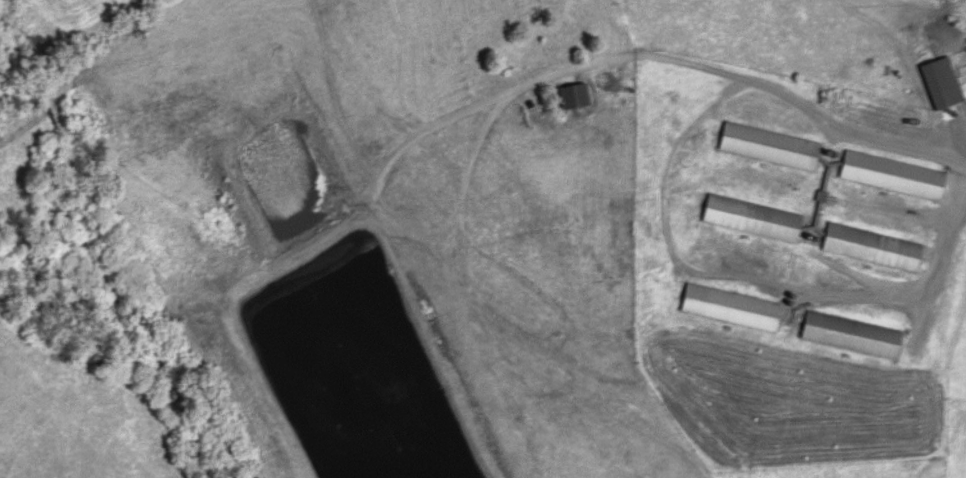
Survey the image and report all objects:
building: (934, 82)
building: (765, 146)
building: (885, 175)
building: (803, 232)
building: (722, 307)
building: (844, 335)

